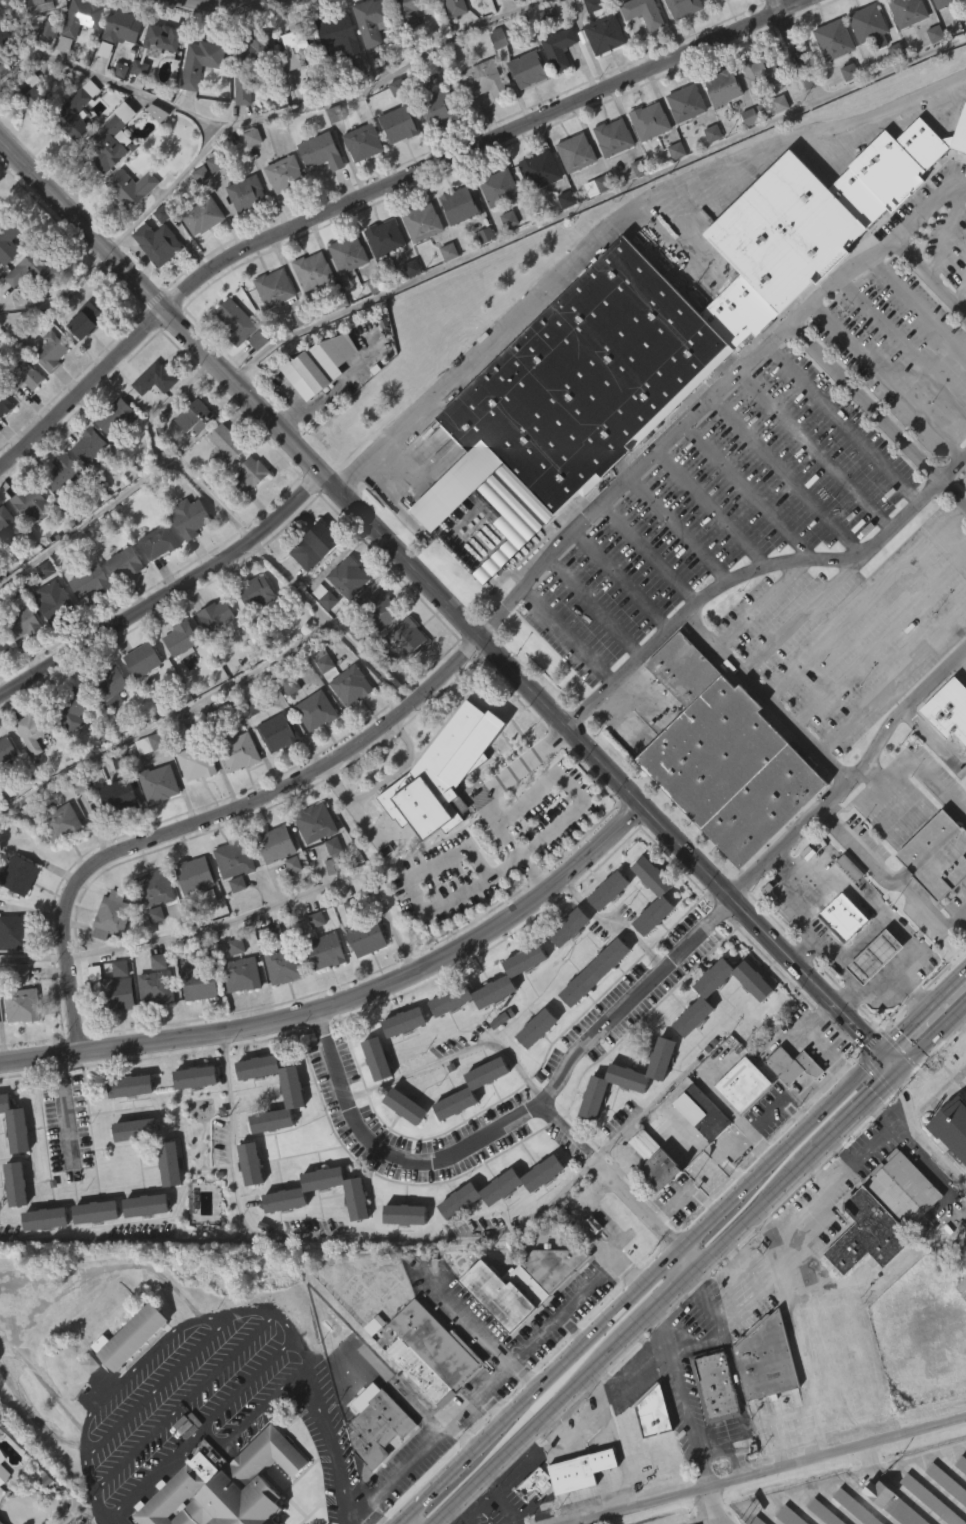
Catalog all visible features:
building: (716, 1)
building: (785, 3)
building: (942, 3)
road: (225, 4)
building: (46, 5)
building: (964, 6)
building: (457, 7)
building: (543, 7)
building: (685, 7)
building: (409, 9)
building: (909, 11)
building: (644, 12)
building: (499, 13)
building: (80, 20)
building: (372, 21)
building: (715, 22)
building: (871, 26)
building: (940, 27)
building: (452, 29)
building: (123, 30)
building: (338, 33)
building: (606, 34)
building: (5, 36)
building: (162, 39)
building: (678, 39)
building: (835, 39)
building: (588, 41)
building: (37, 42)
building: (404, 44)
building: (296, 45)
building: (902, 46)
building: (560, 48)
building: (639, 49)
building: (543, 52)
road: (799, 52)
building: (964, 56)
building: (75, 59)
building: (366, 60)
building: (204, 61)
building: (3, 62)
building: (864, 64)
building: (249, 65)
building: (45, 67)
building: (115, 69)
building: (3, 70)
building: (529, 70)
building: (762, 70)
building: (334, 71)
building: (600, 72)
building: (930, 72)
building: (156, 78)
building: (829, 78)
building: (485, 80)
road: (377, 82)
building: (721, 85)
building: (555, 86)
building: (891, 87)
building: (289, 88)
building: (32, 97)
building: (198, 100)
building: (687, 103)
building: (775, 105)
road: (178, 106)
building: (116, 108)
building: (439, 108)
building: (523, 108)
building: (755, 109)
building: (845, 110)
building: (77, 111)
building: (479, 118)
building: (651, 122)
building: (399, 125)
building: (718, 125)
building: (239, 129)
building: (26, 130)
building: (615, 137)
building: (113, 138)
building: (681, 141)
building: (364, 142)
building: (767, 144)
building: (72, 148)
building: (432, 148)
building: (153, 150)
building: (322, 152)
building: (577, 153)
building: (744, 155)
building: (646, 159)
building: (394, 162)
building: (541, 170)
building: (708, 171)
building: (248, 174)
building: (286, 174)
building: (359, 180)
building: (103, 182)
building: (599, 185)
building: (132, 187)
building: (499, 188)
building: (672, 188)
building: (316, 190)
road: (375, 190)
building: (571, 190)
building: (247, 194)
road: (593, 199)
building: (635, 205)
building: (459, 206)
building: (536, 207)
building: (279, 212)
building: (204, 216)
building: (423, 223)
road: (613, 223)
building: (592, 224)
building: (127, 225)
building: (494, 226)
building: (242, 231)
road: (948, 235)
building: (562, 237)
building: (160, 238)
building: (386, 238)
building: (9, 242)
building: (454, 243)
road: (895, 244)
building: (199, 254)
building: (349, 254)
building: (504, 257)
building: (418, 260)
building: (34, 271)
building: (313, 271)
building: (481, 273)
building: (381, 275)
building: (6, 279)
building: (154, 281)
building: (275, 288)
building: (444, 289)
building: (344, 292)
road: (961, 294)
road: (65, 300)
building: (408, 305)
road: (918, 305)
building: (27, 308)
building: (308, 308)
building: (87, 320)
building: (236, 322)
building: (270, 325)
building: (653, 341)
road: (904, 342)
building: (51, 351)
road: (816, 352)
building: (82, 358)
building: (235, 362)
building: (322, 365)
building: (23, 376)
road: (889, 378)
building: (156, 379)
building: (47, 388)
building: (316, 401)
building: (5, 405)
building: (21, 413)
building: (198, 415)
building: (117, 416)
building: (151, 416)
road: (843, 420)
building: (3, 442)
building: (231, 444)
building: (89, 446)
road: (814, 448)
building: (111, 454)
building: (191, 455)
building: (62, 474)
road: (788, 474)
building: (251, 475)
road: (631, 477)
building: (220, 483)
building: (85, 484)
road: (747, 492)
road: (952, 493)
building: (32, 502)
road: (712, 508)
building: (58, 511)
building: (246, 512)
building: (194, 519)
building: (10, 527)
road: (680, 529)
building: (28, 541)
building: (160, 541)
building: (314, 546)
road: (649, 554)
building: (186, 555)
building: (125, 563)
building: (7, 564)
building: (349, 577)
road: (292, 579)
road: (622, 579)
building: (154, 580)
building: (91, 581)
building: (310, 584)
building: (258, 591)
road: (167, 593)
building: (55, 601)
building: (121, 601)
road: (863, 602)
road: (763, 603)
road: (450, 607)
road: (595, 607)
building: (380, 608)
building: (217, 615)
building: (344, 615)
road: (801, 615)
building: (85, 619)
building: (23, 623)
building: (252, 630)
building: (321, 634)
road: (567, 635)
building: (50, 637)
building: (407, 637)
building: (185, 640)
road: (708, 641)
road: (879, 644)
building: (3, 645)
building: (375, 646)
building: (212, 652)
building: (143, 659)
building: (325, 660)
building: (19, 662)
road: (624, 670)
building: (177, 676)
building: (402, 676)
building: (1, 683)
road: (892, 683)
building: (352, 684)
building: (110, 686)
road: (214, 691)
building: (138, 697)
building: (949, 709)
building: (76, 710)
building: (317, 710)
building: (346, 723)
building: (106, 725)
building: (34, 729)
building: (278, 735)
building: (152, 742)
building: (311, 748)
building: (946, 748)
building: (7, 749)
building: (68, 750)
building: (242, 753)
building: (728, 755)
building: (198, 762)
building: (28, 769)
road: (916, 769)
building: (273, 770)
road: (401, 770)
building: (442, 771)
building: (159, 783)
building: (4, 785)
building: (235, 789)
building: (119, 796)
building: (192, 800)
building: (438, 810)
road: (359, 815)
road: (213, 817)
building: (155, 821)
building: (313, 823)
building: (64, 825)
road: (556, 825)
building: (114, 833)
road: (507, 839)
road: (789, 843)
building: (276, 844)
road: (854, 848)
building: (935, 856)
building: (239, 858)
building: (311, 860)
building: (58, 861)
building: (22, 873)
building: (195, 875)
road: (788, 876)
building: (272, 881)
building: (329, 883)
road: (897, 886)
building: (155, 887)
building: (611, 890)
building: (933, 892)
building: (663, 896)
building: (229, 897)
road: (857, 899)
building: (289, 901)
road: (273, 905)
building: (845, 905)
building: (15, 912)
building: (191, 912)
road: (928, 913)
road: (961, 915)
building: (112, 916)
building: (233, 921)
road: (615, 922)
road: (961, 924)
building: (150, 925)
building: (570, 927)
building: (604, 927)
building: (17, 930)
building: (656, 933)
building: (205, 934)
building: (367, 937)
building: (859, 941)
gas station: (859, 941)
building: (327, 951)
building: (152, 952)
building: (108, 953)
road: (34, 957)
building: (564, 964)
building: (284, 966)
building: (12, 970)
building: (597, 972)
building: (850, 973)
building: (242, 975)
building: (362, 975)
building: (203, 982)
building: (492, 983)
building: (159, 986)
building: (321, 988)
building: (120, 993)
road: (348, 997)
building: (520, 997)
building: (762, 998)
building: (278, 1003)
building: (25, 1005)
building: (590, 1009)
building: (237, 1012)
building: (195, 1020)
building: (400, 1021)
building: (151, 1025)
building: (539, 1028)
building: (113, 1031)
building: (469, 1033)
building: (756, 1034)
building: (17, 1043)
building: (497, 1055)
traffic signals: (882, 1056)
building: (375, 1059)
building: (400, 1059)
building: (532, 1065)
building: (794, 1065)
traffic signals: (904, 1075)
building: (196, 1078)
building: (629, 1079)
building: (740, 1083)
building: (131, 1087)
building: (470, 1088)
building: (372, 1096)
building: (295, 1098)
building: (787, 1102)
building: (406, 1107)
road: (64, 1108)
building: (482, 1110)
building: (191, 1114)
building: (623, 1114)
building: (706, 1115)
road: (516, 1118)
road: (888, 1118)
building: (738, 1121)
building: (126, 1123)
building: (15, 1126)
building: (951, 1126)
road: (569, 1129)
building: (136, 1130)
building: (288, 1130)
road: (919, 1137)
building: (451, 1140)
building: (401, 1143)
road: (864, 1145)
building: (703, 1152)
building: (651, 1159)
building: (169, 1164)
building: (251, 1164)
building: (950, 1165)
building: (131, 1166)
road: (820, 1175)
building: (16, 1186)
building: (500, 1186)
building: (905, 1188)
building: (287, 1194)
building: (650, 1197)
building: (165, 1201)
building: (246, 1201)
road: (637, 1203)
road: (811, 1204)
building: (146, 1206)
building: (96, 1213)
building: (965, 1214)
building: (405, 1215)
building: (44, 1220)
building: (11, 1221)
road: (608, 1221)
building: (497, 1223)
road: (588, 1229)
building: (870, 1235)
building: (280, 1237)
road: (335, 1237)
building: (141, 1242)
building: (353, 1242)
road: (682, 1247)
building: (91, 1249)
building: (400, 1251)
building: (41, 1256)
road: (758, 1259)
building: (588, 1260)
road: (691, 1260)
road: (703, 1270)
building: (524, 1284)
road: (257, 1309)
road: (469, 1317)
building: (518, 1320)
road: (573, 1328)
building: (133, 1337)
building: (437, 1345)
road: (158, 1347)
building: (769, 1360)
building: (421, 1373)
building: (126, 1374)
road: (526, 1374)
road: (157, 1384)
building: (715, 1385)
building: (759, 1396)
building: (86, 1401)
road: (183, 1401)
road: (468, 1403)
road: (685, 1403)
building: (654, 1411)
road: (253, 1414)
road: (317, 1414)
building: (709, 1421)
road: (198, 1427)
building: (379, 1427)
road: (578, 1429)
road: (463, 1436)
road: (84, 1439)
road: (615, 1441)
building: (775, 1443)
building: (648, 1449)
building: (962, 1463)
building: (4, 1467)
building: (375, 1467)
building: (582, 1470)
road: (772, 1470)
road: (393, 1475)
building: (948, 1481)
road: (501, 1484)
building: (226, 1485)
building: (533, 1485)
road: (92, 1487)
building: (0, 1494)
building: (932, 1499)
road: (482, 1503)
building: (897, 1503)
building: (959, 1503)
building: (576, 1506)
road: (702, 1507)
building: (858, 1507)
building: (2, 1512)
building: (825, 1512)
building: (935, 1513)
road: (371, 1514)
road: (106, 1515)
building: (533, 1516)
building: (791, 1516)
building: (759, 1520)
building: (2, 1521)

